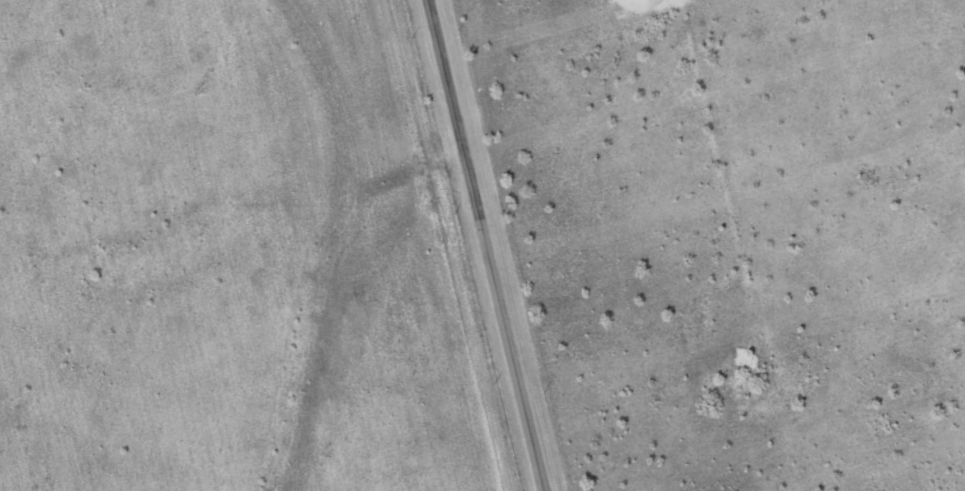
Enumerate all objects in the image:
road: (494, 245)

